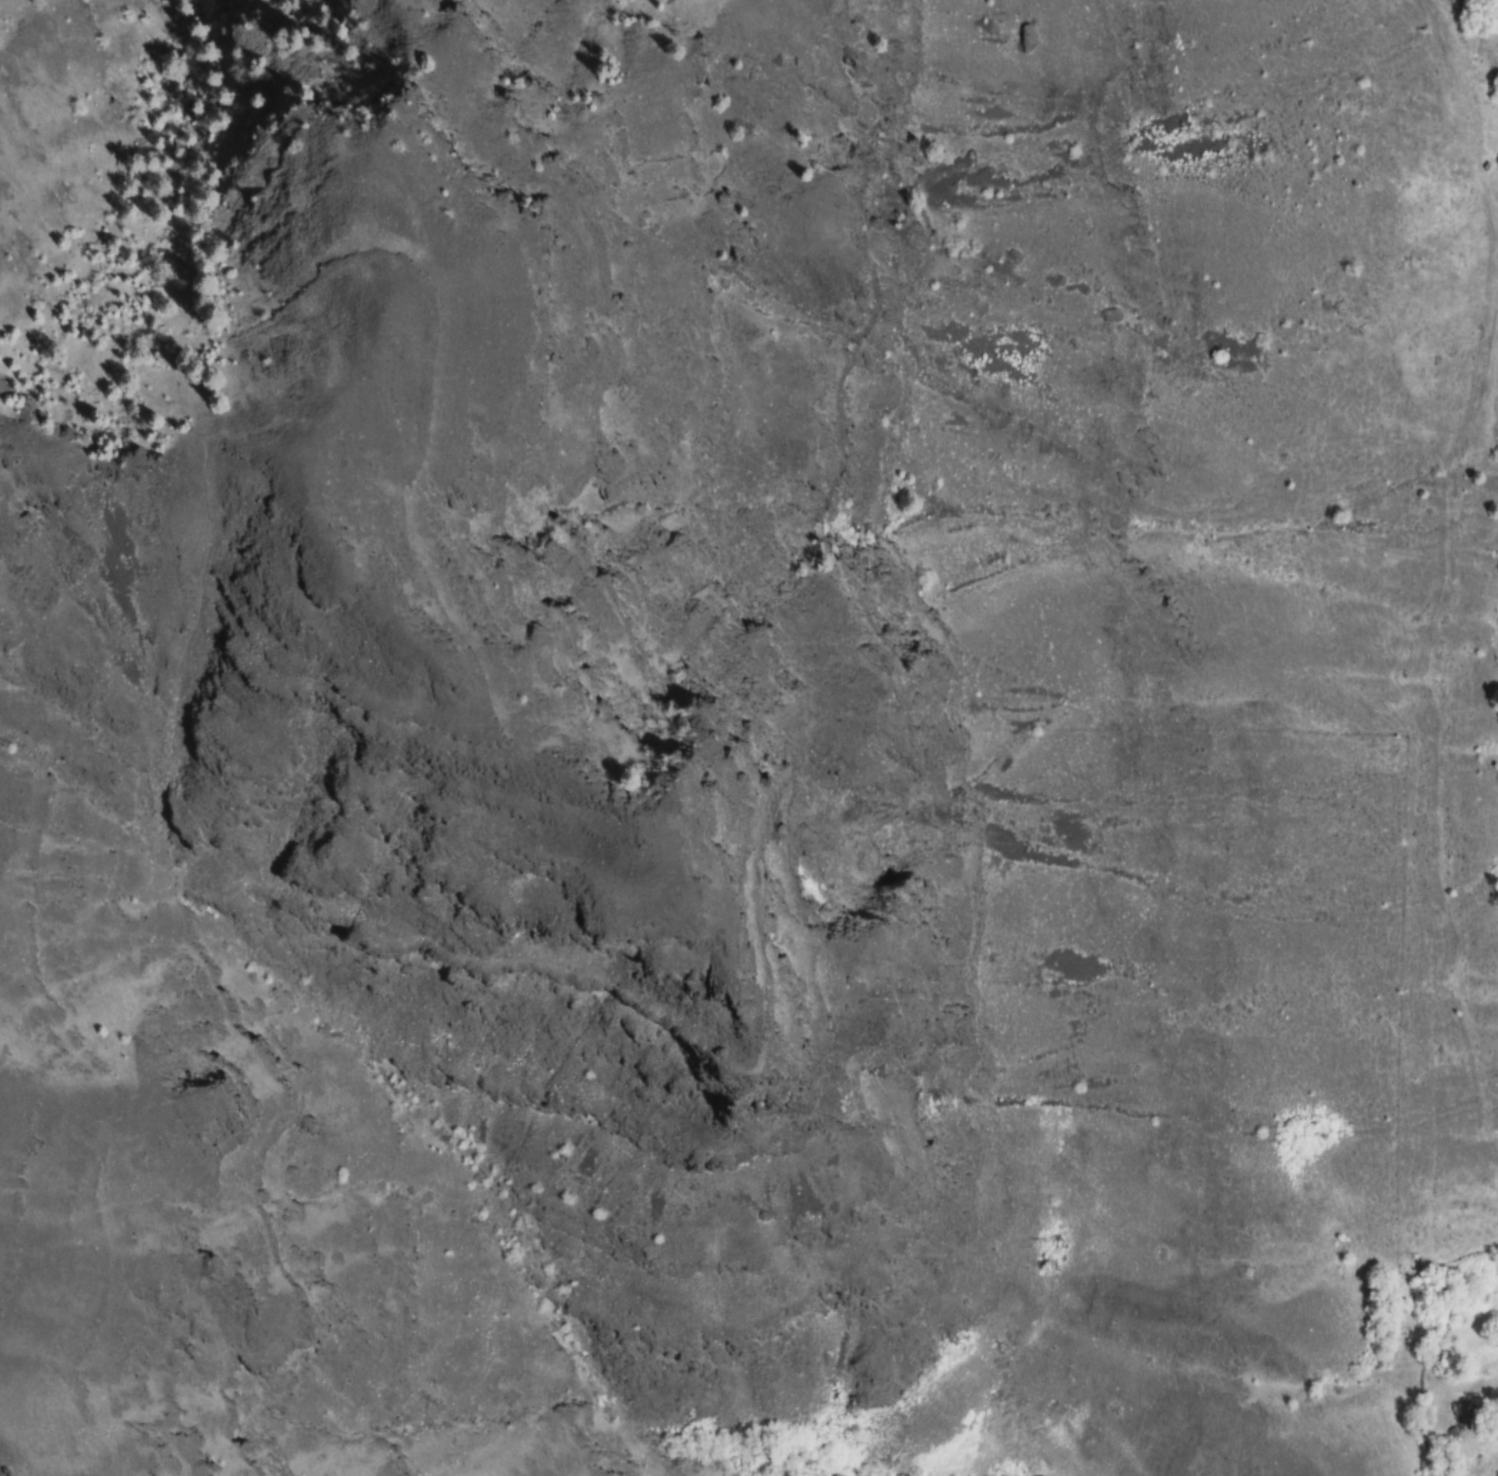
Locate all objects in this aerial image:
building: (1463, 1413)

